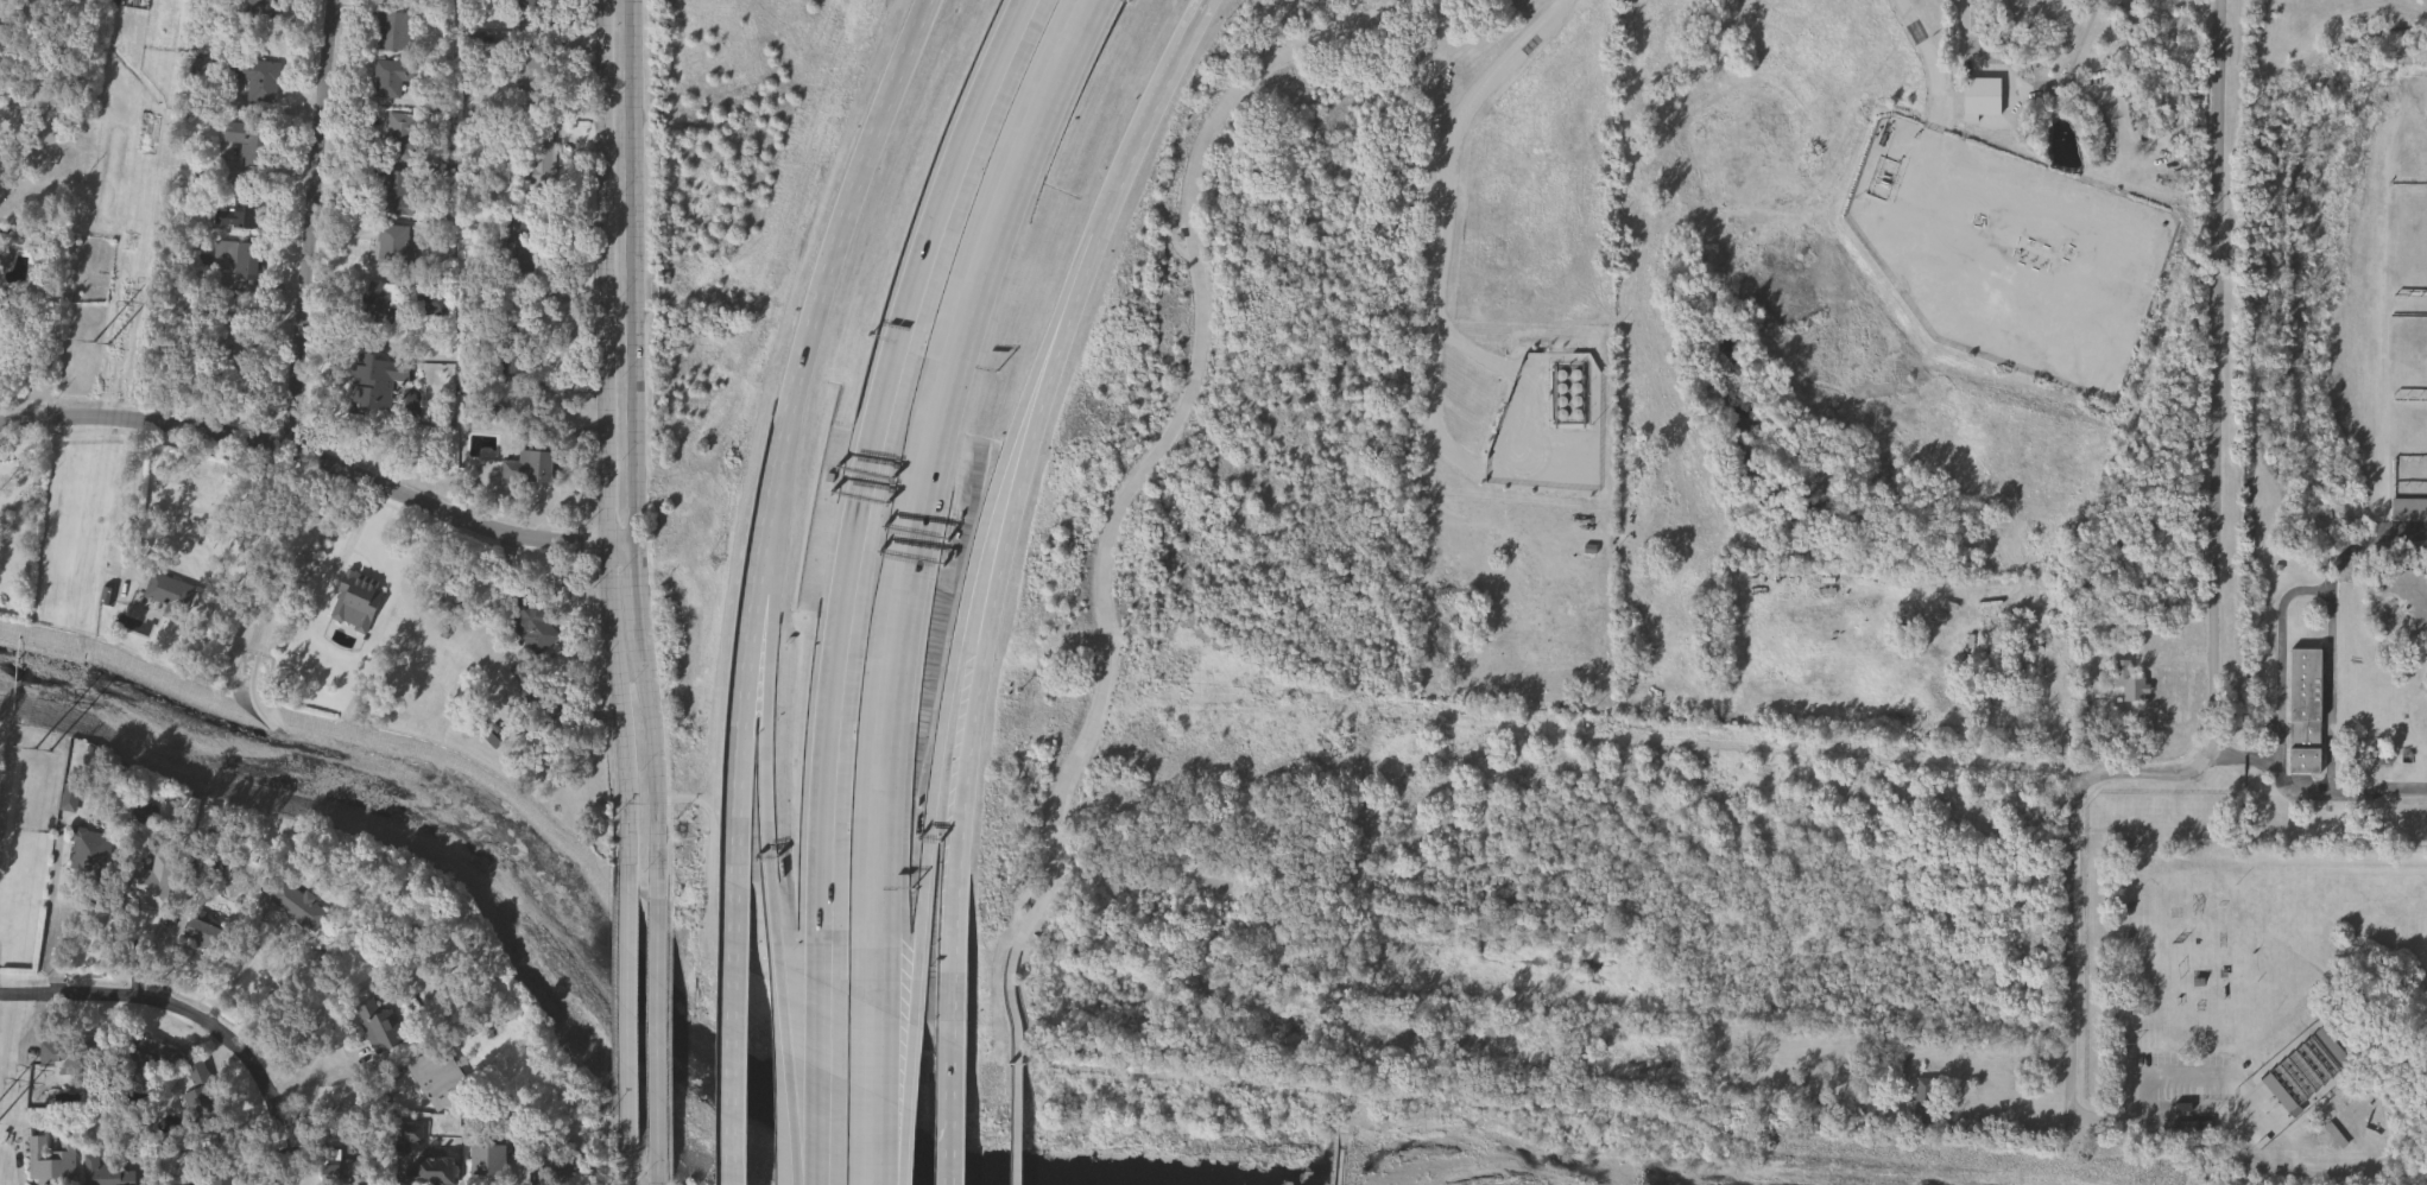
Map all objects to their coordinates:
building: (264, 2)
building: (397, 30)
building: (0, 45)
building: (397, 77)
building: (261, 80)
building: (404, 135)
building: (255, 142)
road: (1143, 142)
road: (1440, 159)
building: (402, 191)
building: (1973, 195)
building: (247, 204)
road: (311, 226)
building: (517, 227)
road: (992, 232)
road: (944, 242)
building: (396, 243)
building: (230, 249)
building: (252, 259)
road: (829, 265)
building: (383, 298)
building: (516, 337)
power tower: (105, 346)
building: (378, 384)
road: (609, 432)
road: (638, 450)
road: (324, 464)
building: (531, 464)
road: (1146, 473)
building: (1563, 484)
road: (139, 496)
building: (2410, 512)
road: (1574, 520)
road: (2364, 544)
building: (1540, 557)
building: (172, 594)
road: (2330, 606)
road: (2216, 614)
building: (535, 626)
road: (960, 644)
road: (986, 658)
building: (2018, 660)
building: (2130, 684)
road: (840, 711)
building: (2306, 712)
road: (742, 714)
road: (883, 742)
road: (770, 749)
power tower: (49, 754)
building: (74, 797)
building: (93, 853)
building: (295, 902)
building: (206, 933)
road: (55, 937)
road: (239, 978)
road: (632, 1005)
road: (197, 1020)
building: (379, 1027)
road: (664, 1027)
road: (740, 1037)
road: (1998, 1041)
building: (65, 1053)
building: (152, 1057)
road: (835, 1057)
road: (353, 1066)
road: (795, 1070)
building: (2306, 1072)
building: (437, 1078)
road: (2153, 1085)
road: (880, 1098)
building: (1928, 1102)
road: (911, 1103)
building: (208, 1104)
road: (342, 1104)
road: (953, 1114)
road: (1016, 1115)
dam: (1342, 1155)
building: (55, 1159)
building: (438, 1162)
building: (491, 1162)
building: (345, 1164)
road: (630, 1165)
road: (659, 1170)
building: (113, 1171)
building: (215, 1174)

